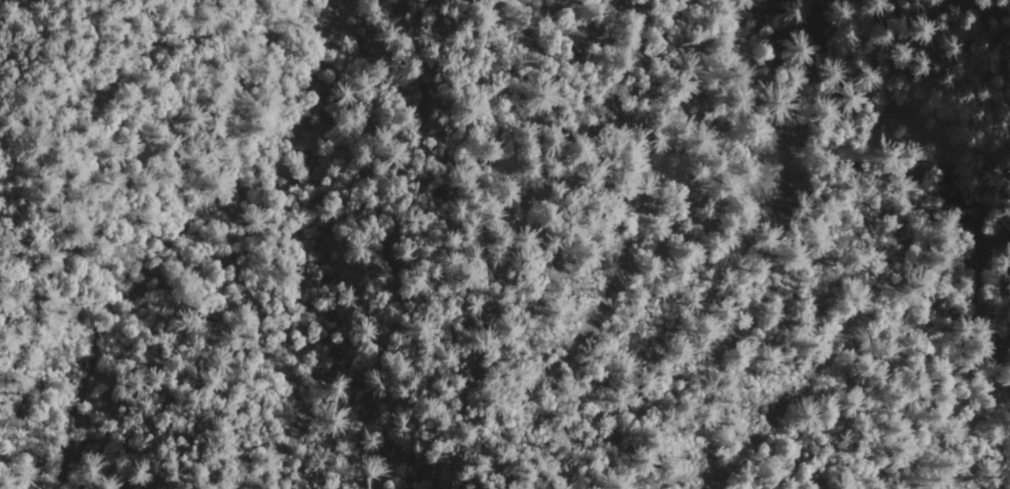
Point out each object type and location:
road: (1008, 94)
road: (877, 150)
road: (1002, 186)

